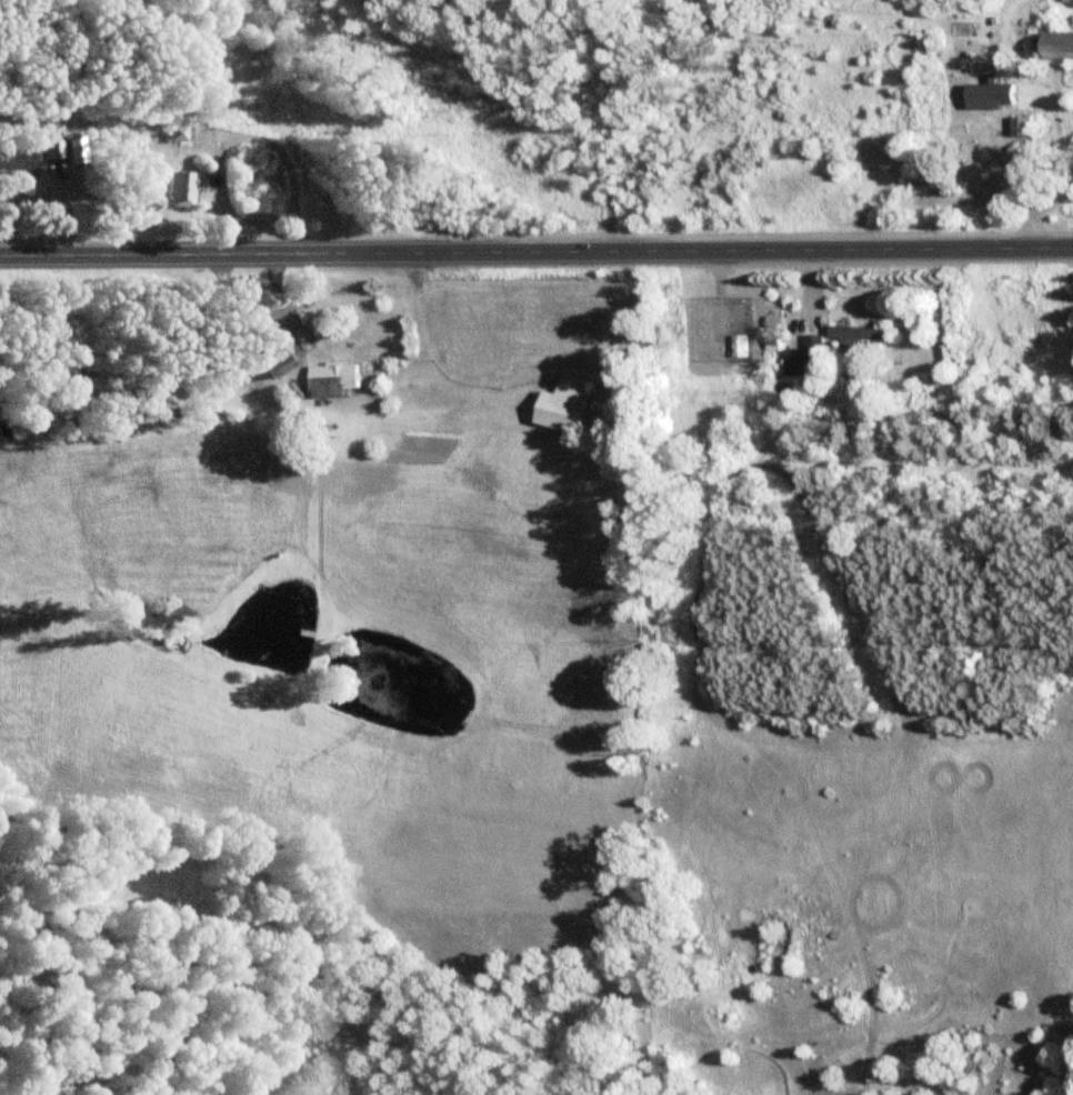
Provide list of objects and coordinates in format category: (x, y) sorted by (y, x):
building: (1062, 46)
building: (991, 96)
building: (1022, 127)
road: (601, 128)
building: (179, 131)
building: (52, 151)
building: (17, 161)
building: (181, 190)
road: (536, 257)
building: (859, 333)
building: (740, 346)
building: (279, 355)
building: (805, 356)
building: (341, 381)
building: (571, 406)

